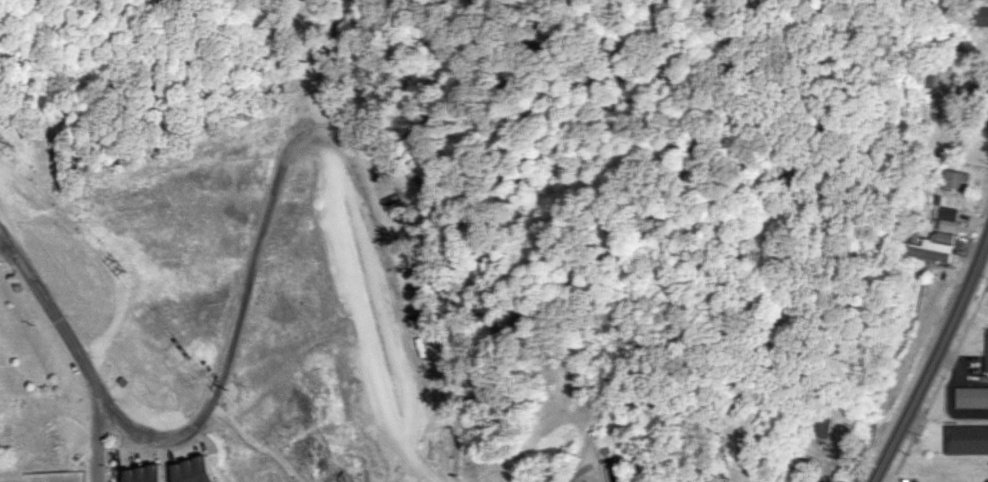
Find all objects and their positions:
building: (979, 15)
road: (305, 50)
building: (943, 77)
road: (304, 128)
building: (954, 179)
road: (7, 234)
building: (933, 247)
building: (926, 269)
road: (391, 289)
road: (362, 314)
road: (84, 336)
road: (236, 344)
road: (931, 357)
building: (987, 365)
building: (971, 397)
building: (818, 423)
building: (966, 438)
road: (585, 464)
building: (192, 470)
building: (800, 470)
building: (143, 474)

